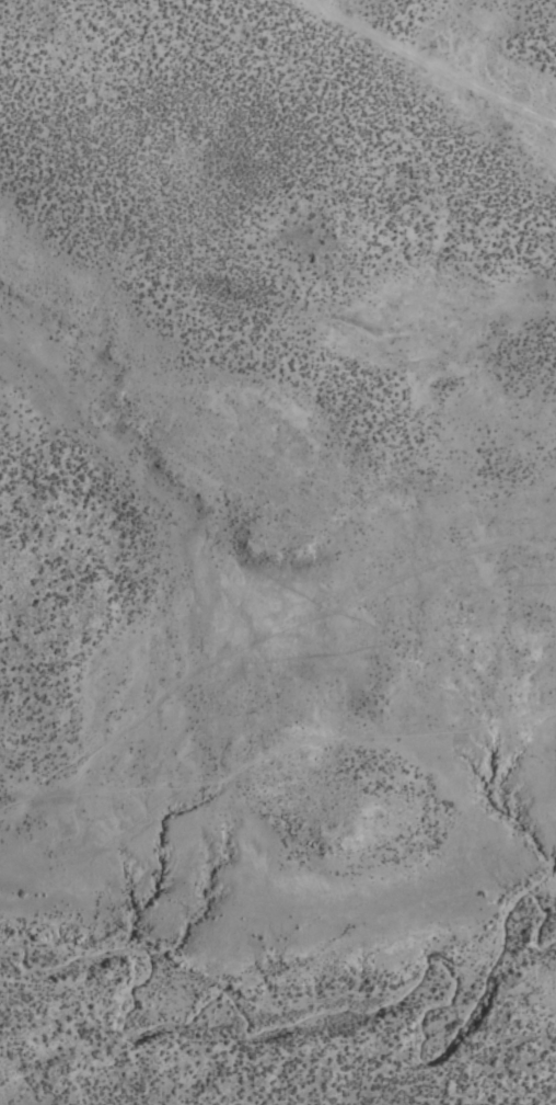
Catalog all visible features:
river: (293, 1023)

